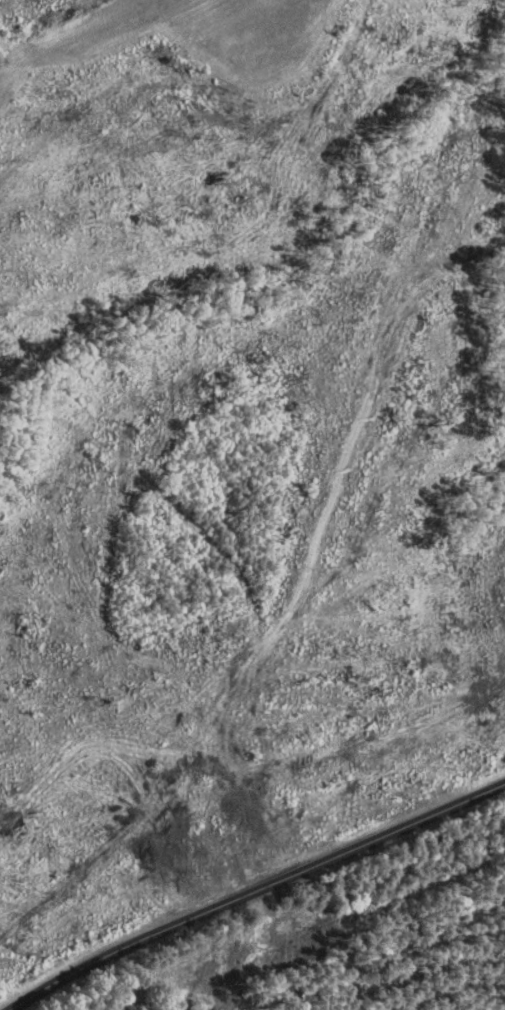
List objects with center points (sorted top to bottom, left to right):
road: (255, 892)

